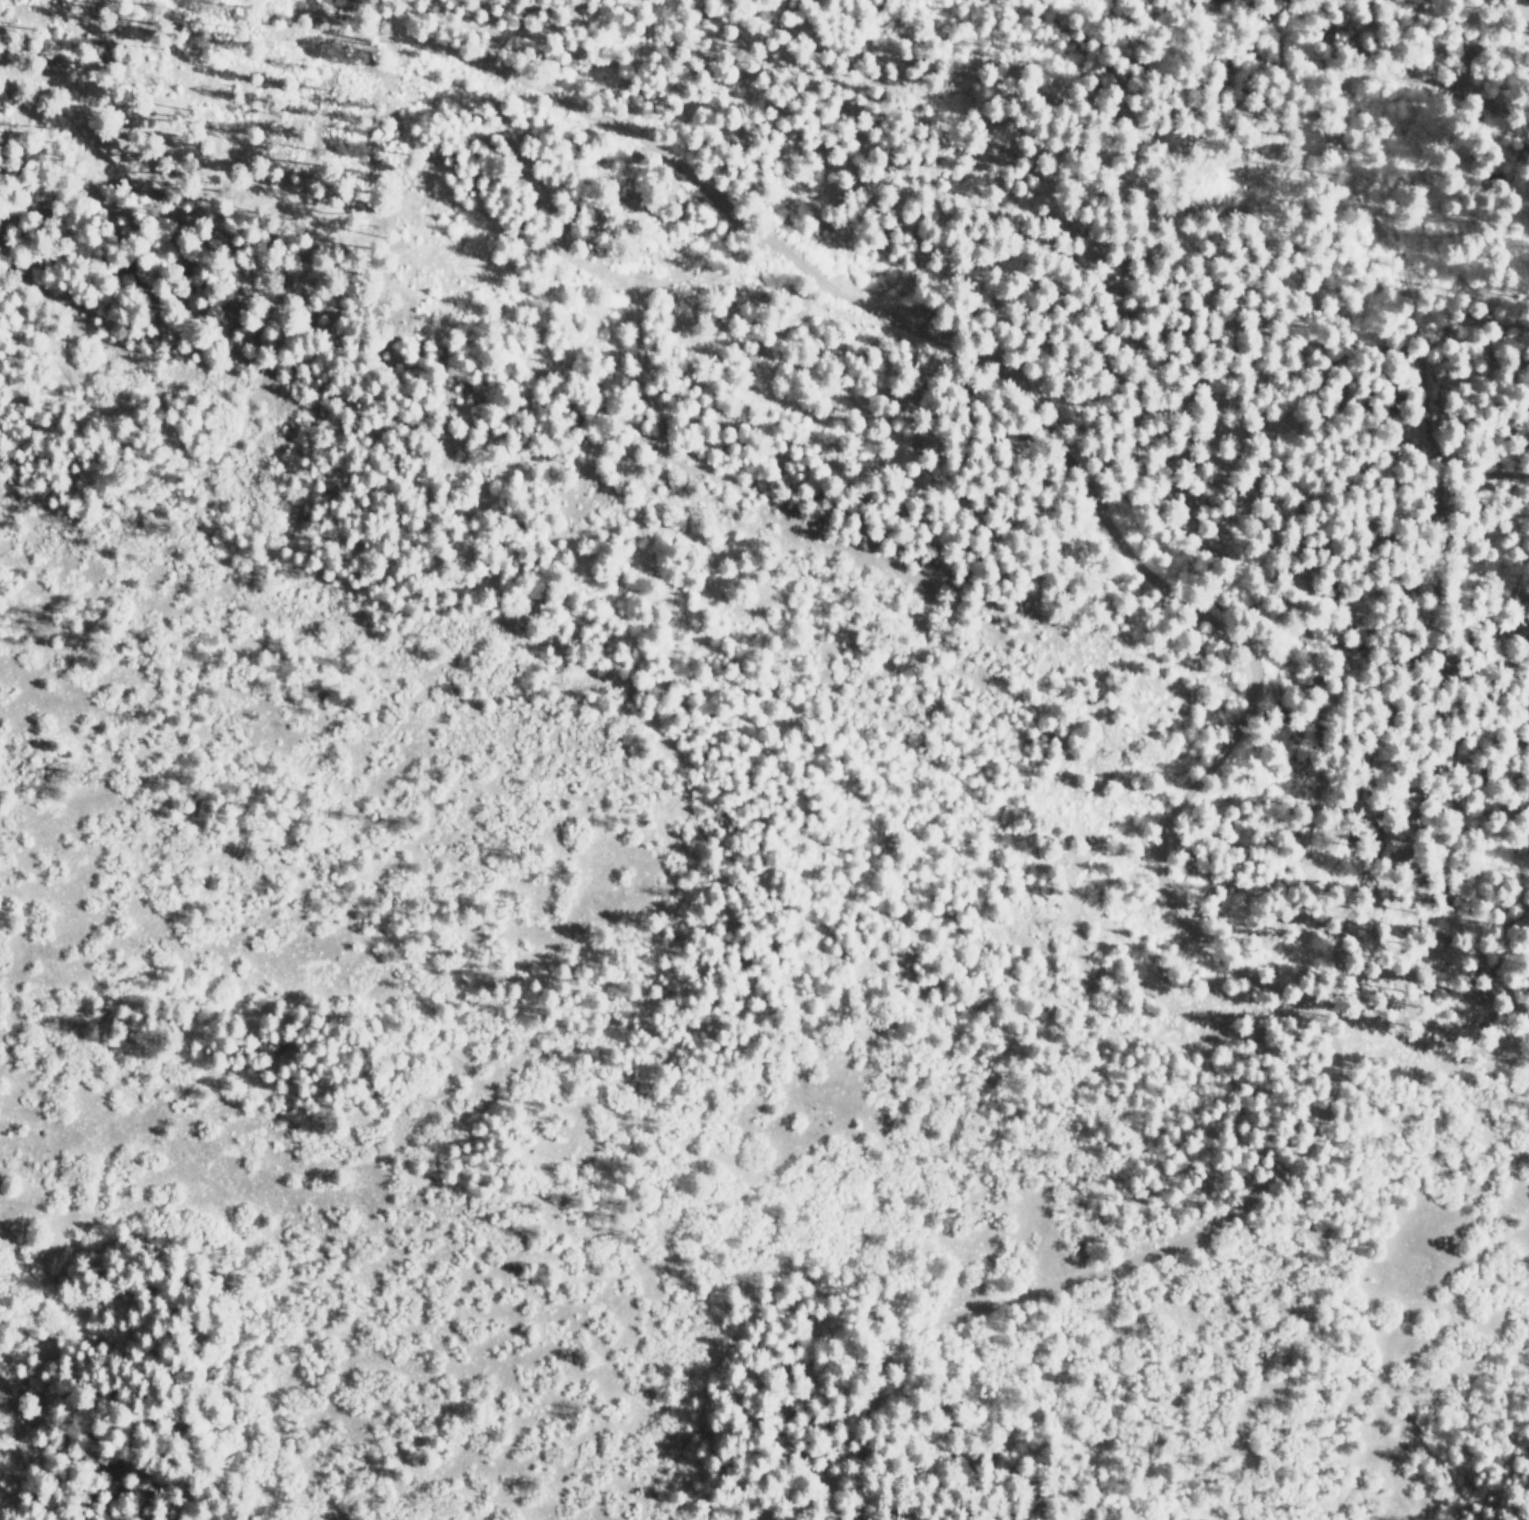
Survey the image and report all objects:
road: (1253, 706)

